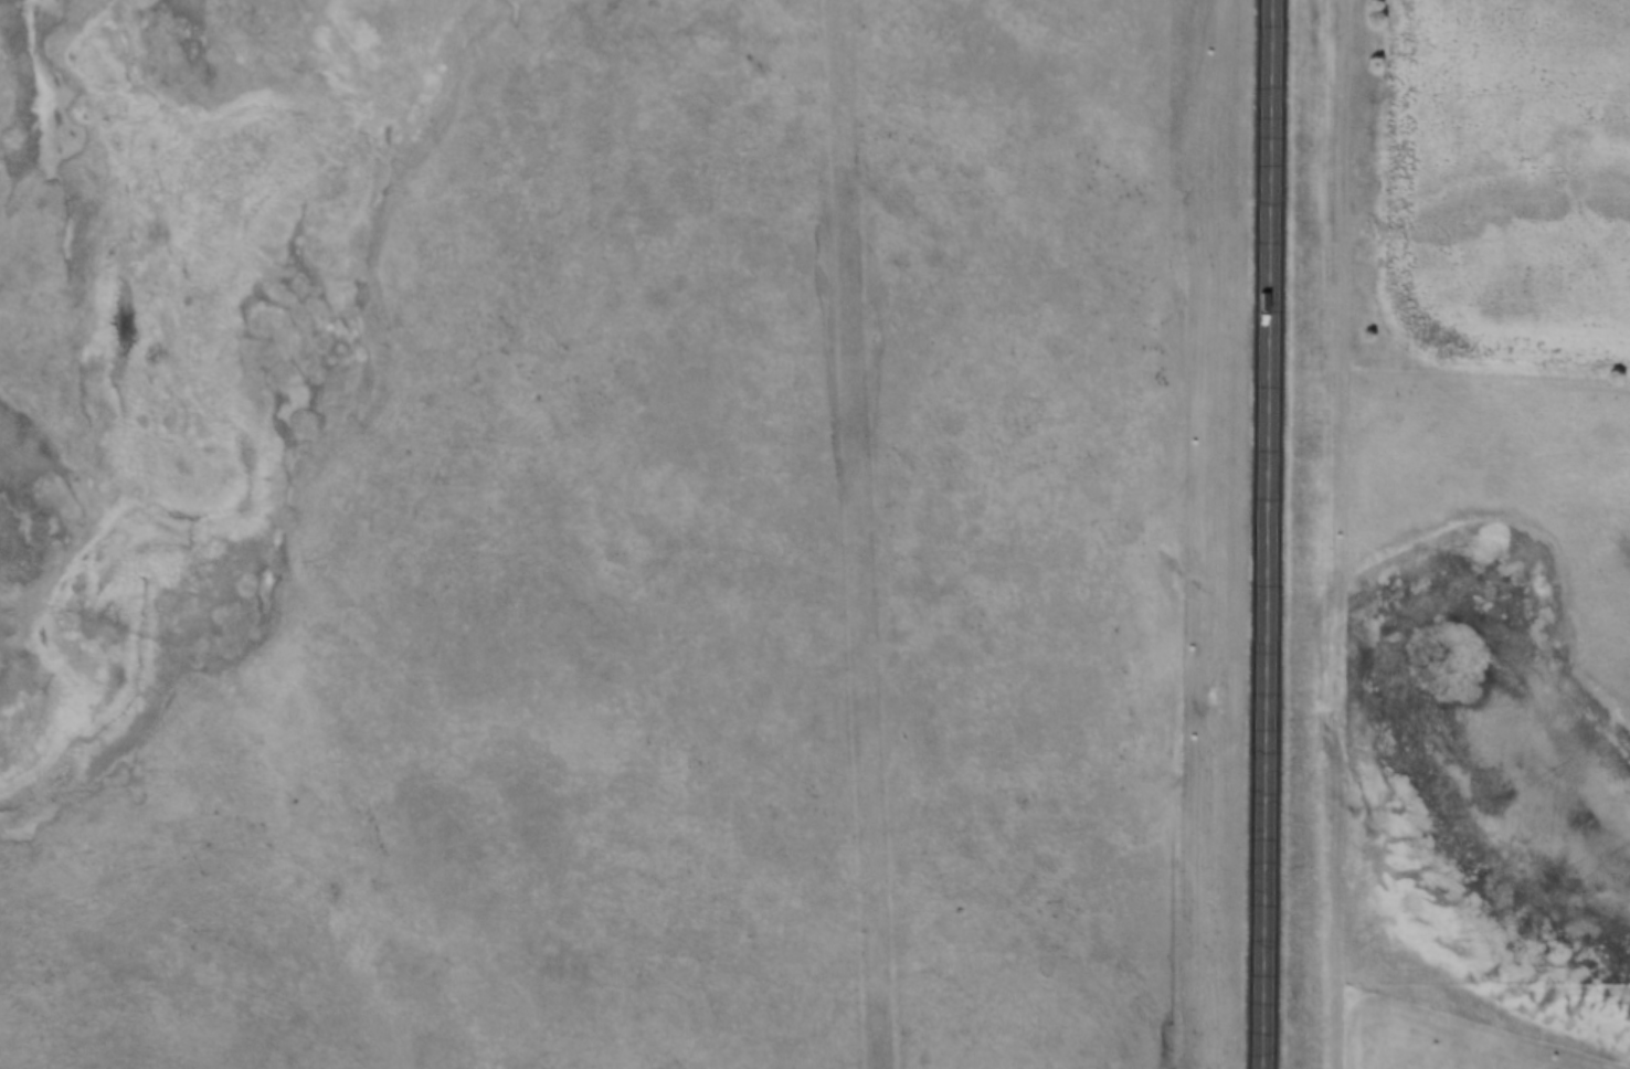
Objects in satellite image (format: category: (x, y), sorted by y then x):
road: (1270, 534)

